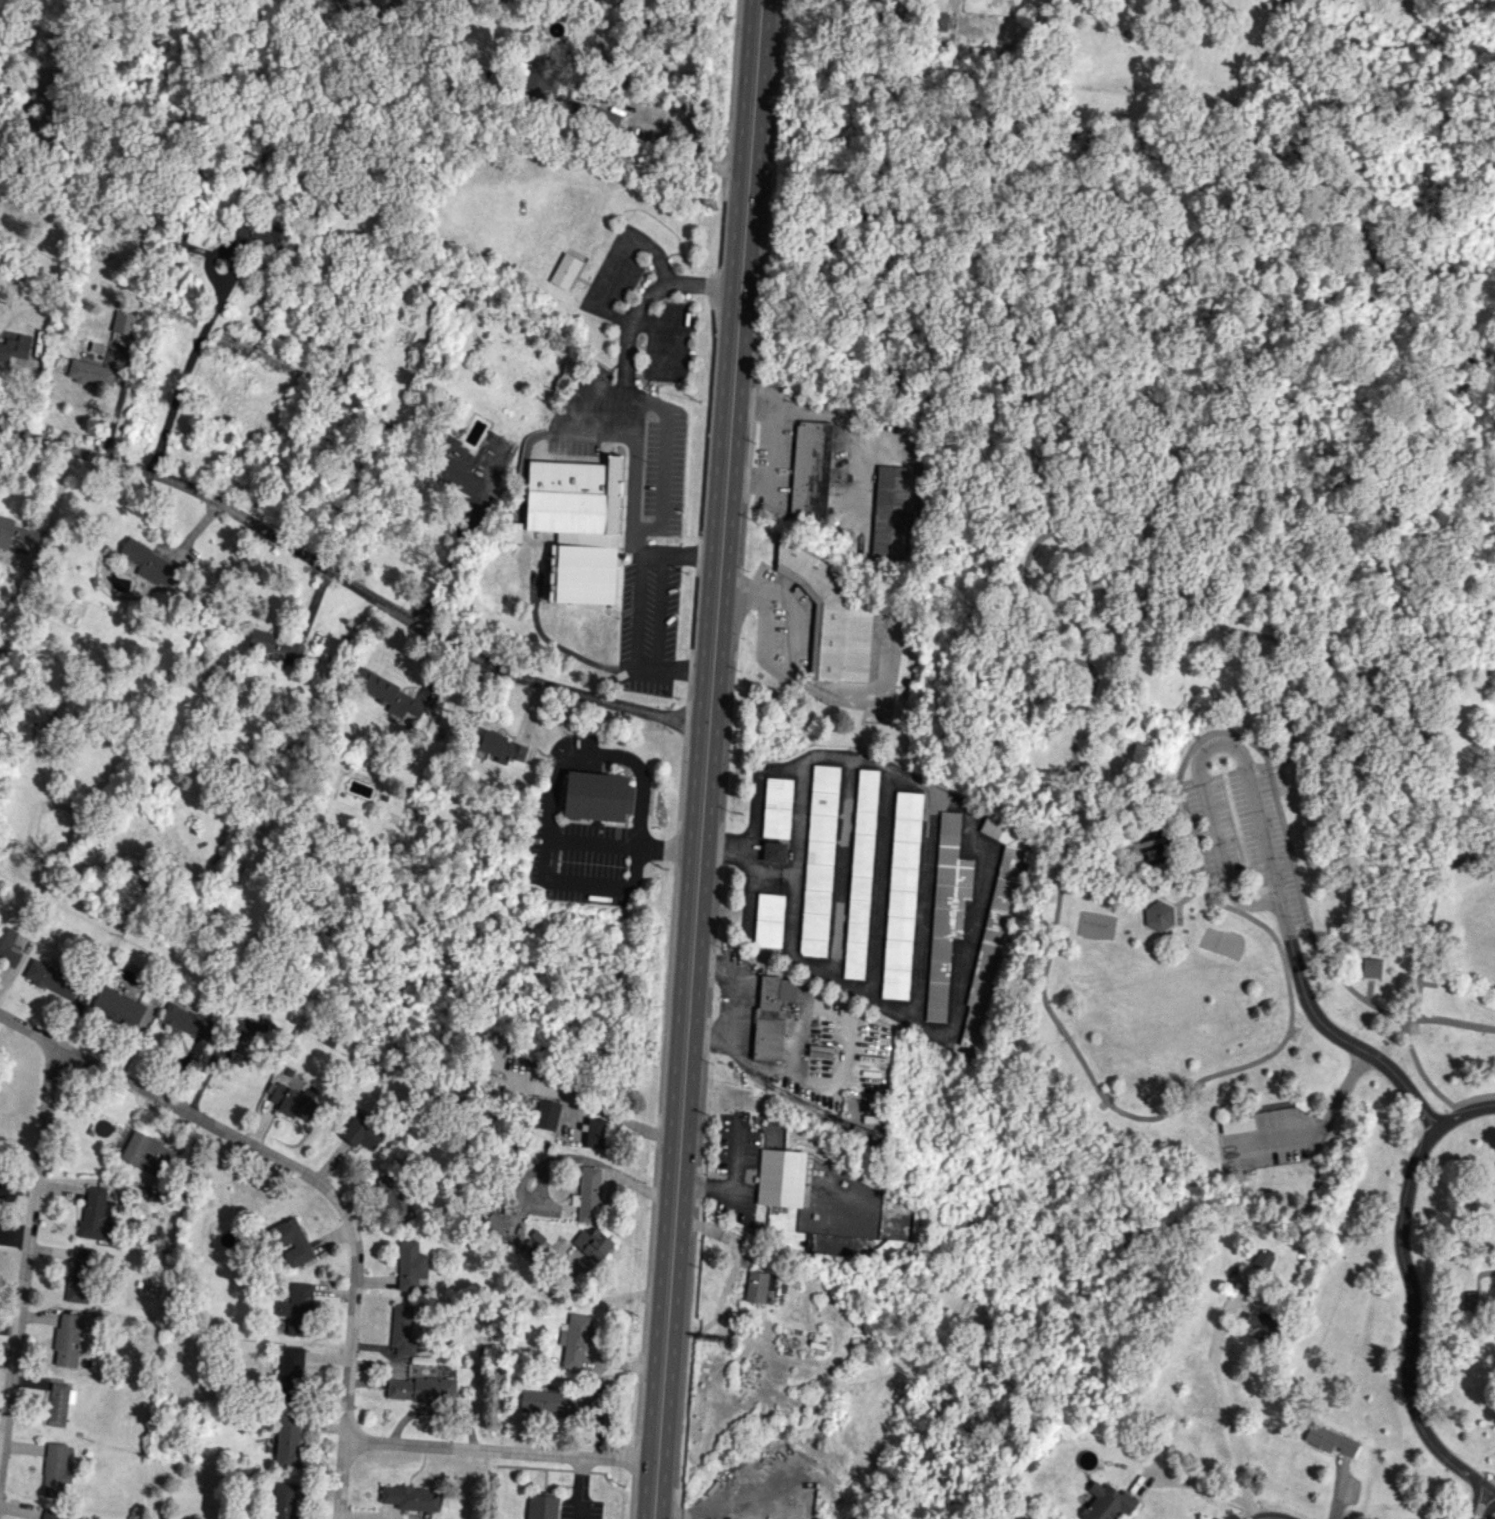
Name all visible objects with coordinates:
building: (939, 20)
building: (537, 77)
road: (651, 108)
building: (334, 220)
building: (257, 234)
building: (564, 271)
building: (123, 322)
building: (15, 350)
building: (91, 372)
road: (183, 380)
road: (621, 415)
road: (113, 425)
building: (454, 467)
building: (810, 471)
building: (565, 511)
building: (890, 512)
road: (1081, 527)
building: (11, 531)
building: (512, 532)
building: (151, 563)
road: (439, 566)
road: (348, 581)
road: (658, 612)
road: (634, 618)
building: (275, 646)
road: (678, 670)
road: (804, 687)
building: (381, 689)
building: (503, 749)
road: (695, 759)
road: (714, 759)
road: (561, 765)
building: (597, 796)
building: (777, 807)
building: (1150, 847)
road: (662, 849)
road: (1268, 850)
building: (774, 852)
road: (1471, 857)
building: (819, 860)
parking lot: (1255, 864)
building: (860, 873)
road: (1442, 880)
road: (587, 885)
park: (1270, 890)
building: (901, 895)
building: (946, 909)
building: (1158, 915)
building: (769, 920)
road: (1260, 923)
building: (992, 925)
building: (8, 946)
building: (1370, 967)
building: (49, 979)
building: (118, 1005)
building: (771, 1016)
building: (188, 1021)
road: (1402, 1024)
building: (245, 1035)
road: (1472, 1096)
building: (292, 1101)
building: (547, 1114)
road: (616, 1117)
building: (1237, 1125)
building: (595, 1132)
building: (360, 1134)
building: (145, 1152)
road: (280, 1159)
road: (735, 1160)
building: (780, 1177)
road: (709, 1186)
building: (588, 1195)
building: (394, 1197)
building: (94, 1215)
building: (495, 1224)
building: (537, 1239)
building: (290, 1241)
building: (592, 1244)
road: (25, 1254)
building: (1262, 1259)
building: (411, 1266)
building: (80, 1274)
building: (759, 1287)
road: (1411, 1292)
building: (297, 1309)
building: (402, 1330)
building: (66, 1340)
building: (575, 1340)
building: (290, 1370)
building: (420, 1389)
building: (59, 1403)
building: (543, 1403)
road: (1226, 1410)
building: (1330, 1440)
building: (288, 1441)
road: (496, 1450)
building: (54, 1470)
road: (342, 1479)
road: (1197, 1486)
road: (579, 1488)
building: (411, 1497)
building: (284, 1500)
building: (1106, 1502)
road: (1264, 1505)
road: (1485, 1506)
building: (541, 1507)
building: (50, 1515)

